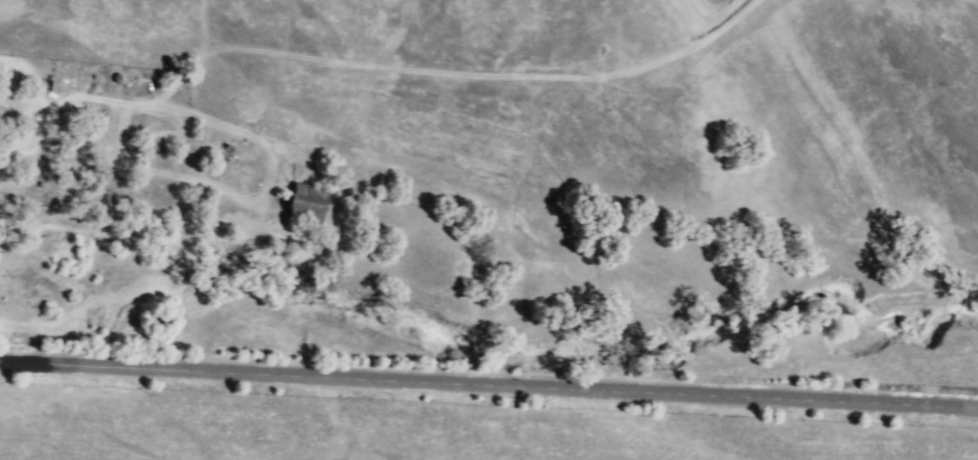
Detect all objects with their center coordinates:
dam: (719, 18)
building: (305, 201)
road: (489, 386)

